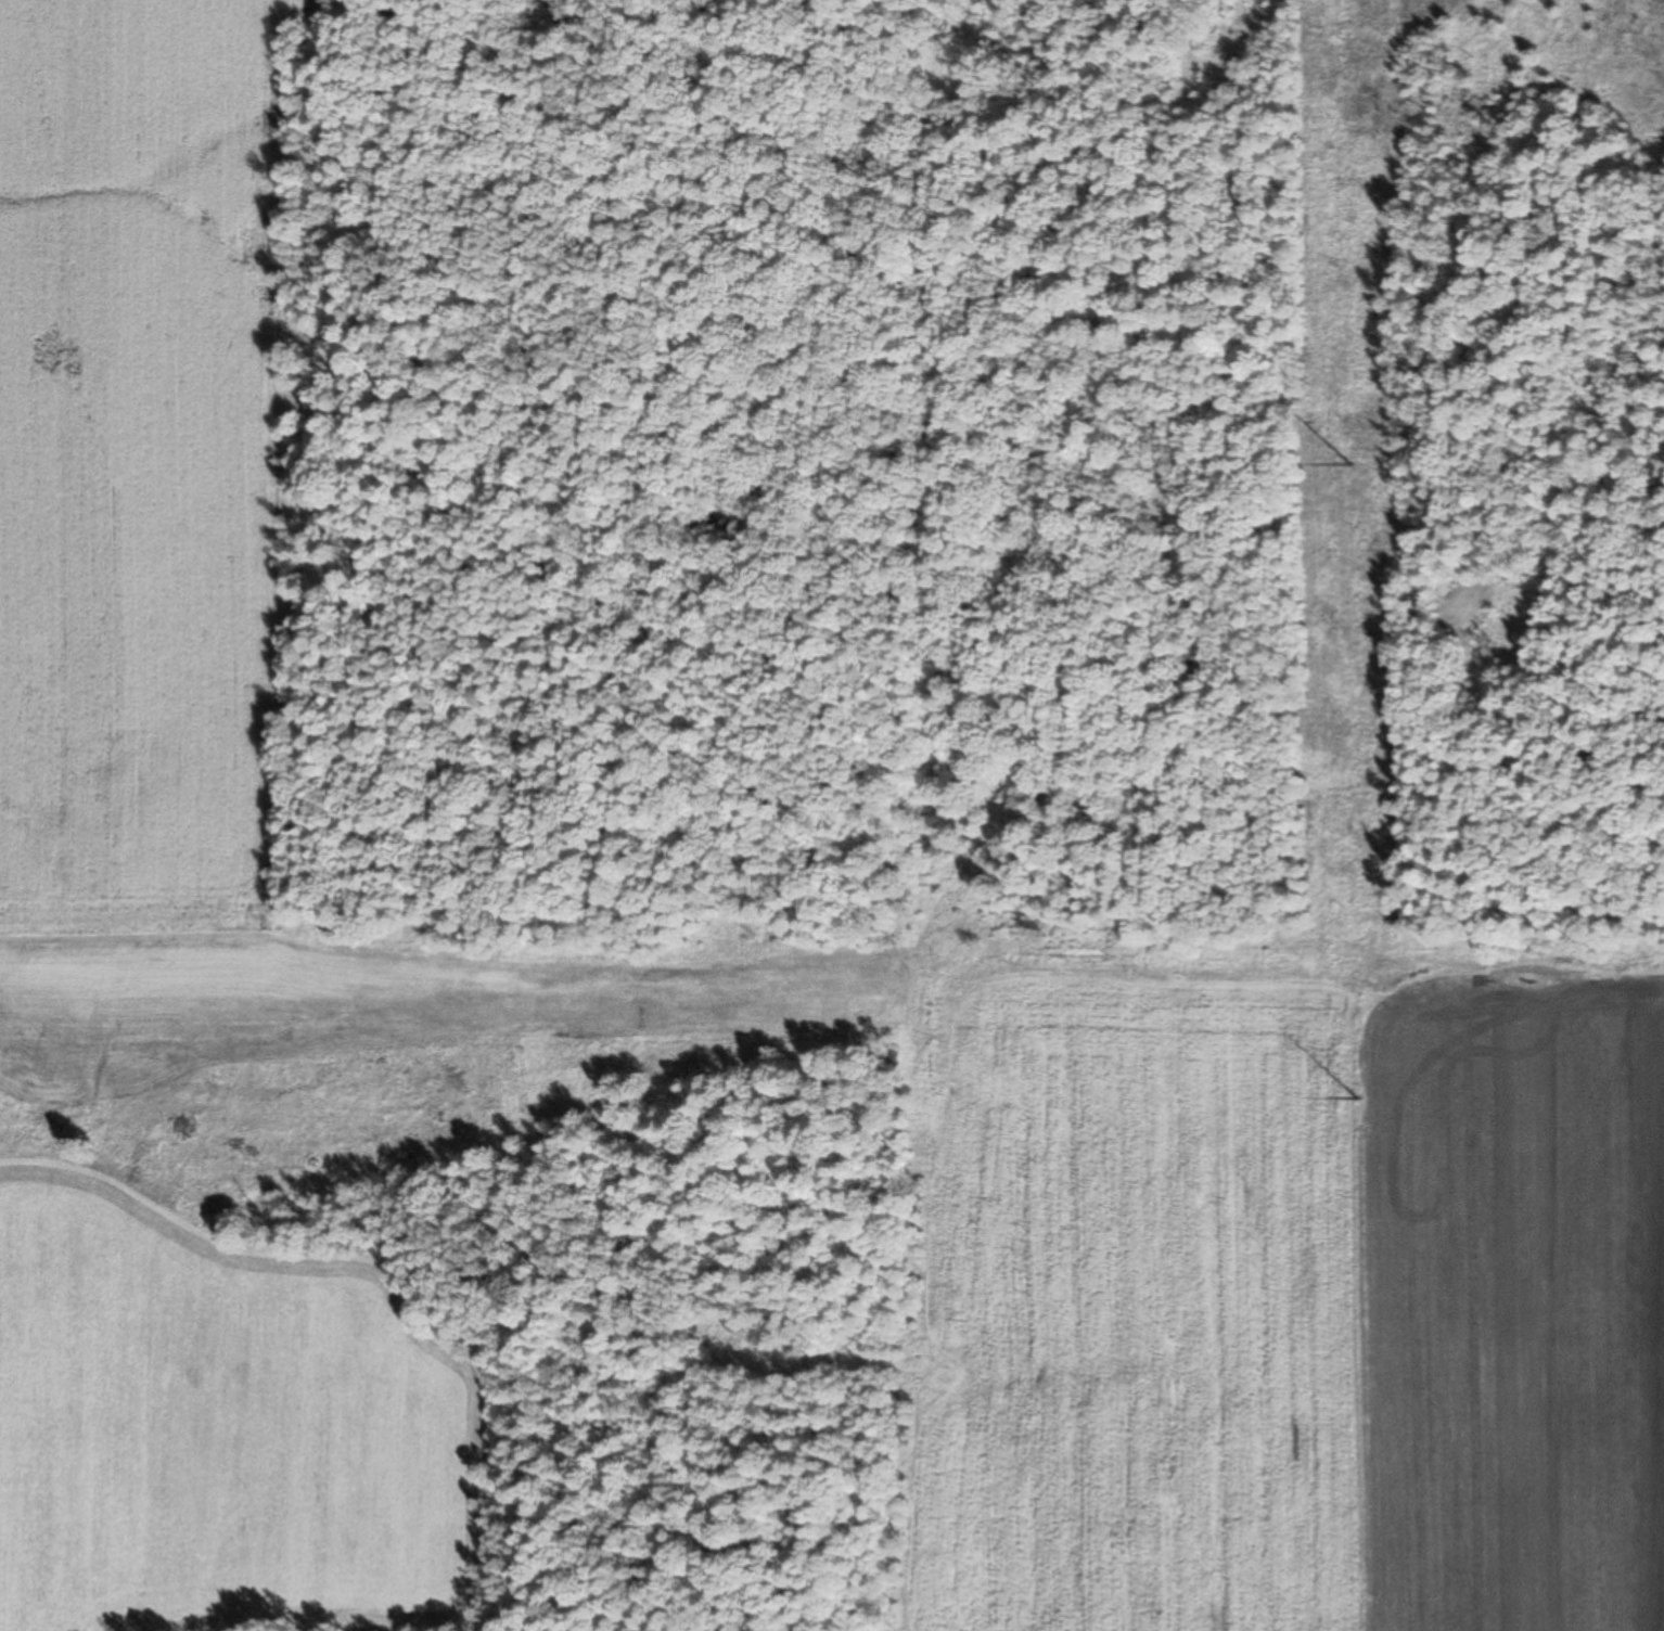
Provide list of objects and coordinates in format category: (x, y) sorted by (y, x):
power tower: (1348, 470)
power tower: (1356, 1097)

